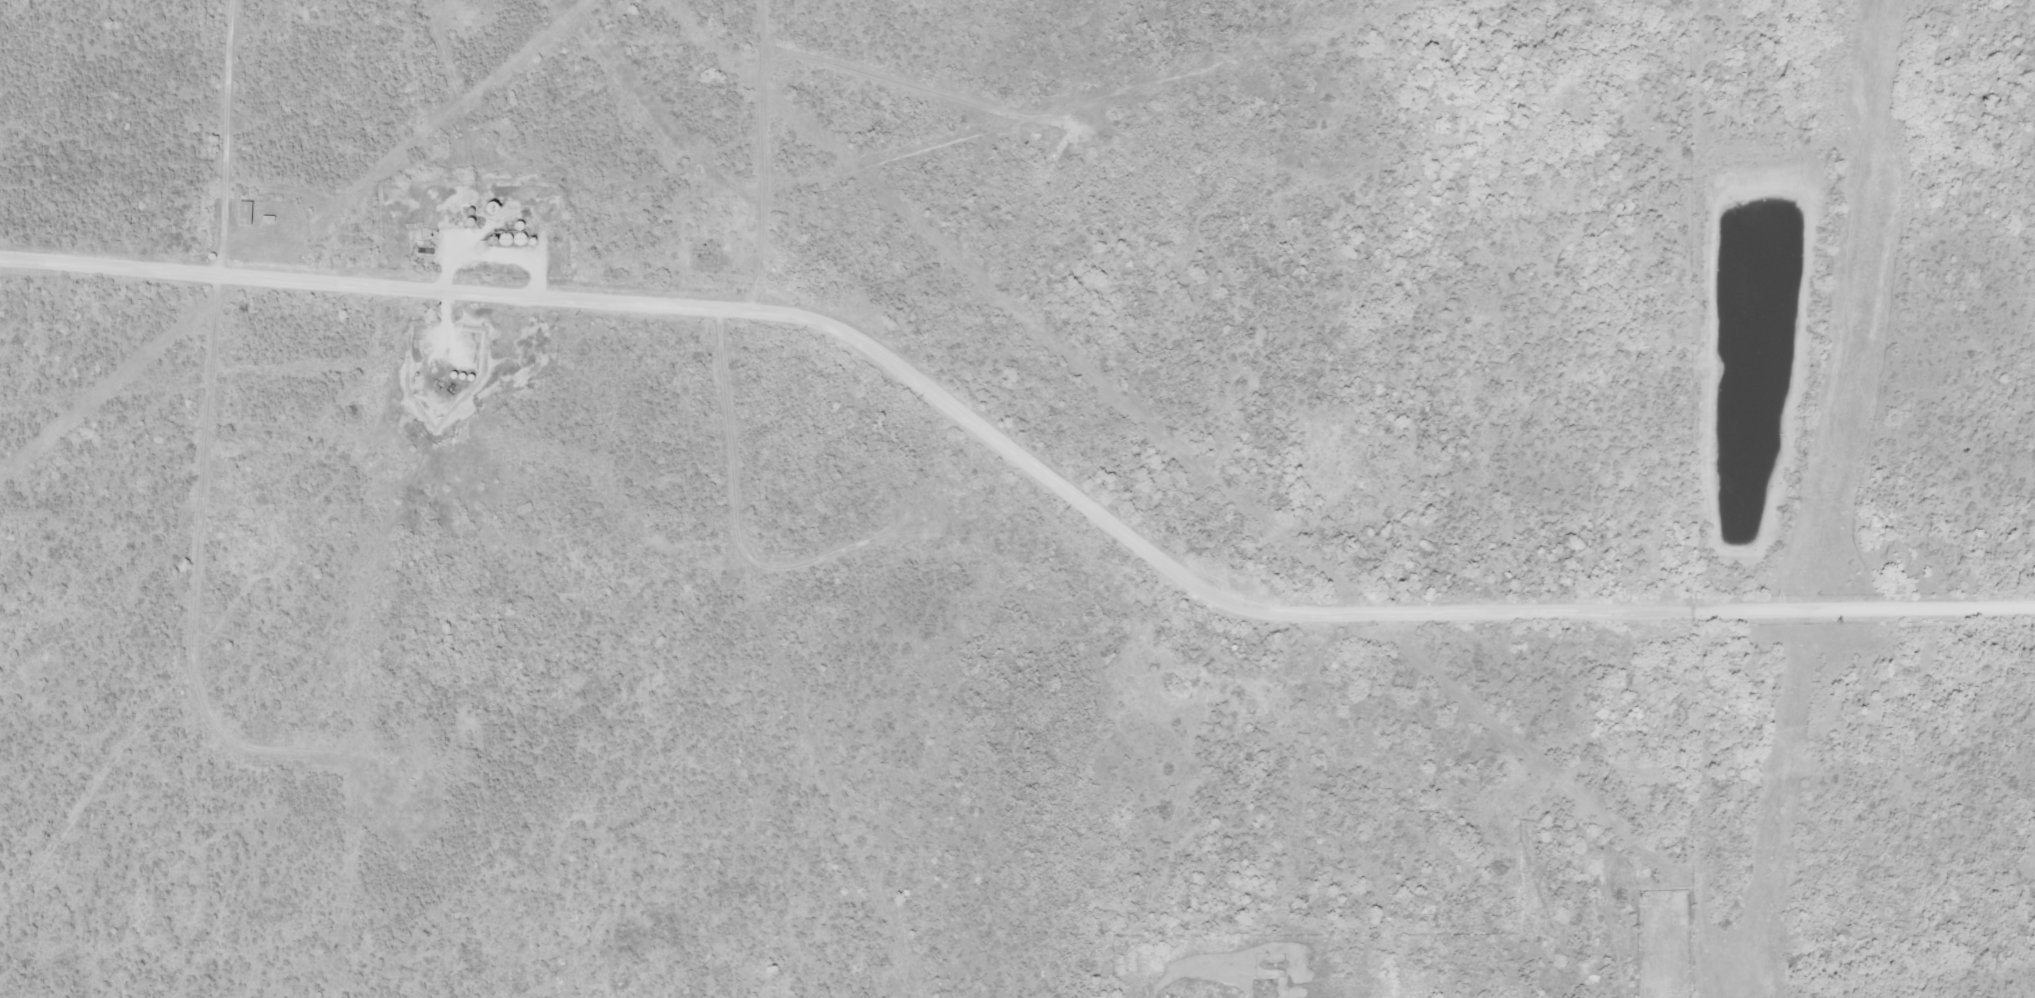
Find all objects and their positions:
road: (756, 155)
building: (247, 213)
building: (506, 239)
road: (1018, 455)

